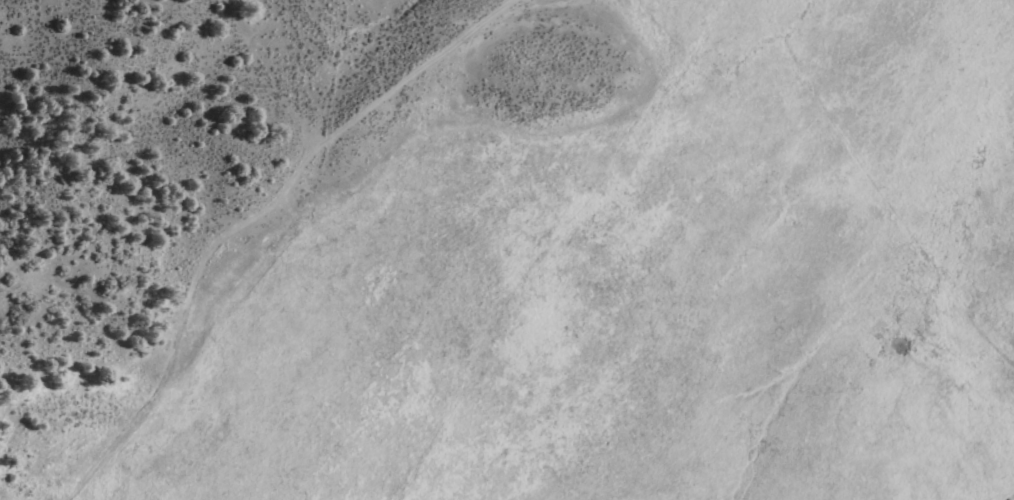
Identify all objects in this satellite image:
road: (247, 219)

